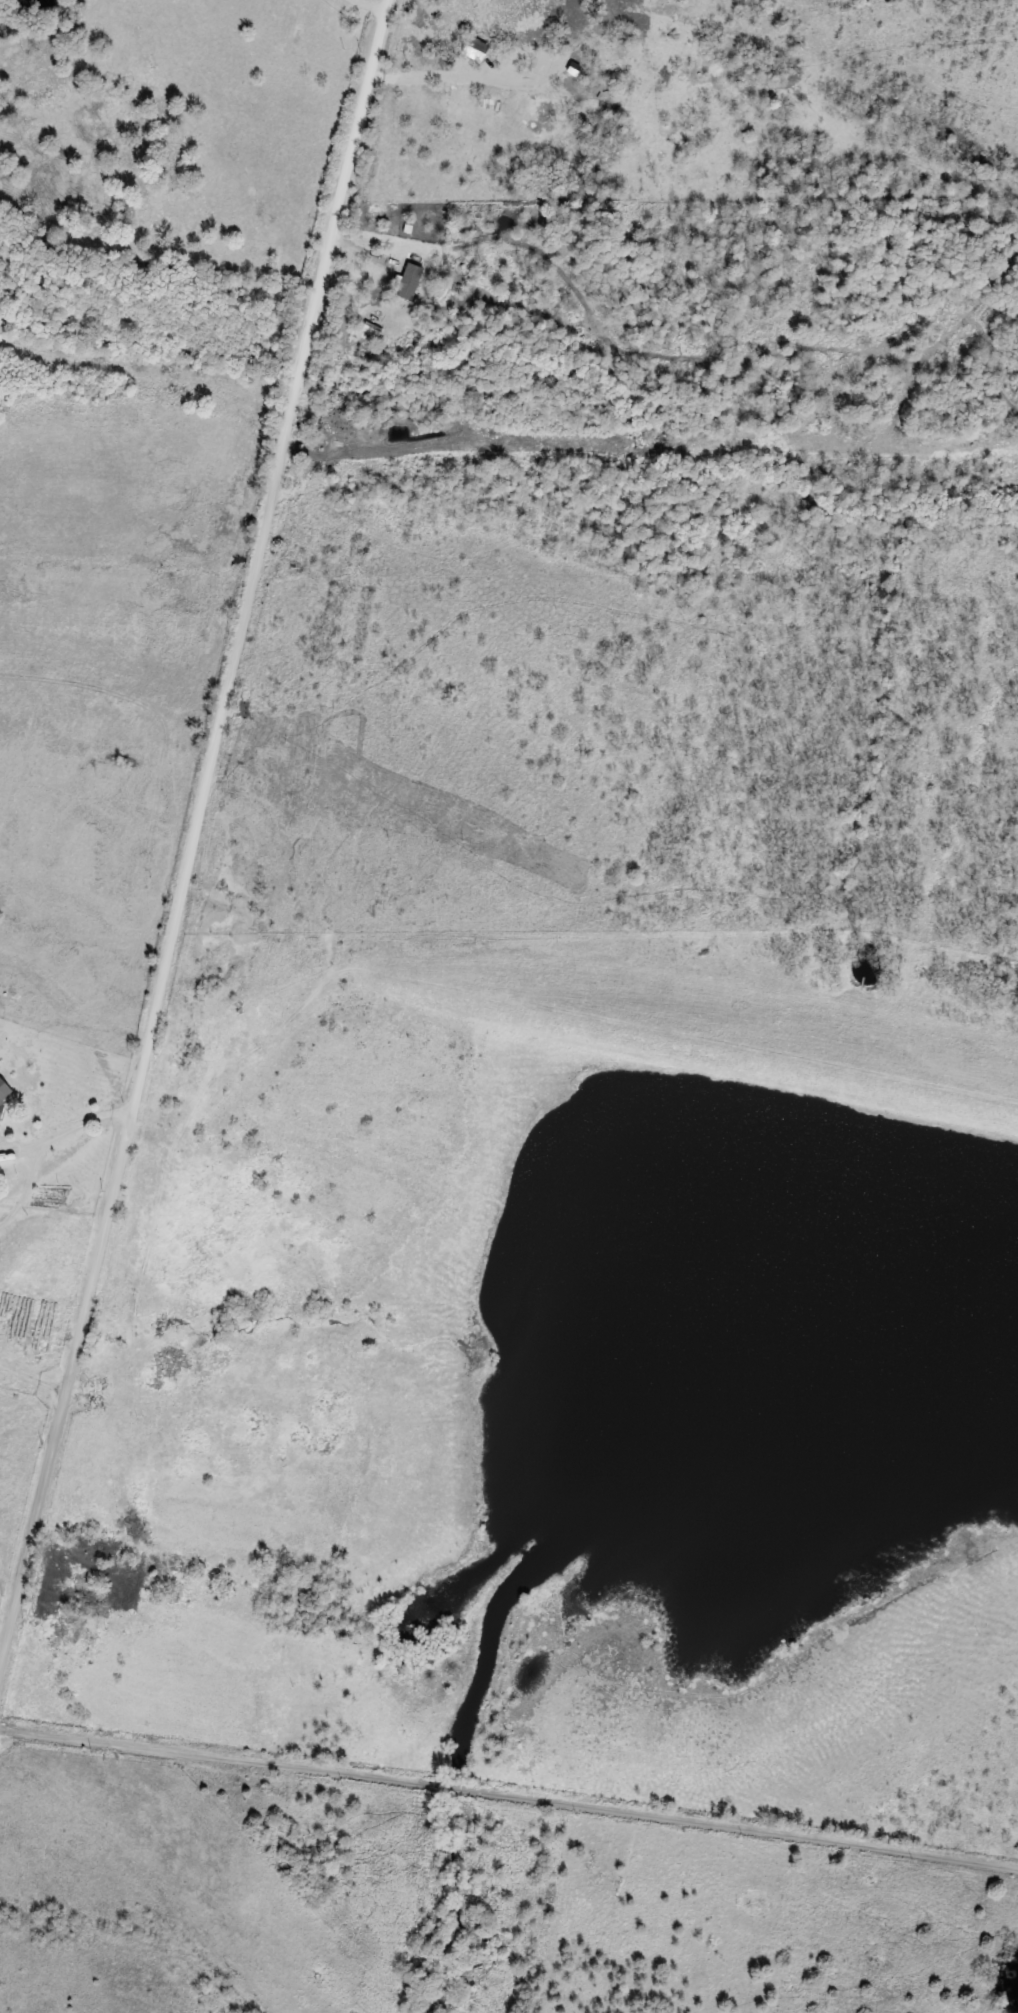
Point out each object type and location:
road: (368, 9)
road: (528, 75)
road: (165, 562)
road: (194, 830)
building: (0, 1106)
road: (44, 1146)
building: (759, 1213)
building: (866, 1337)
road: (32, 1379)
road: (509, 1793)

